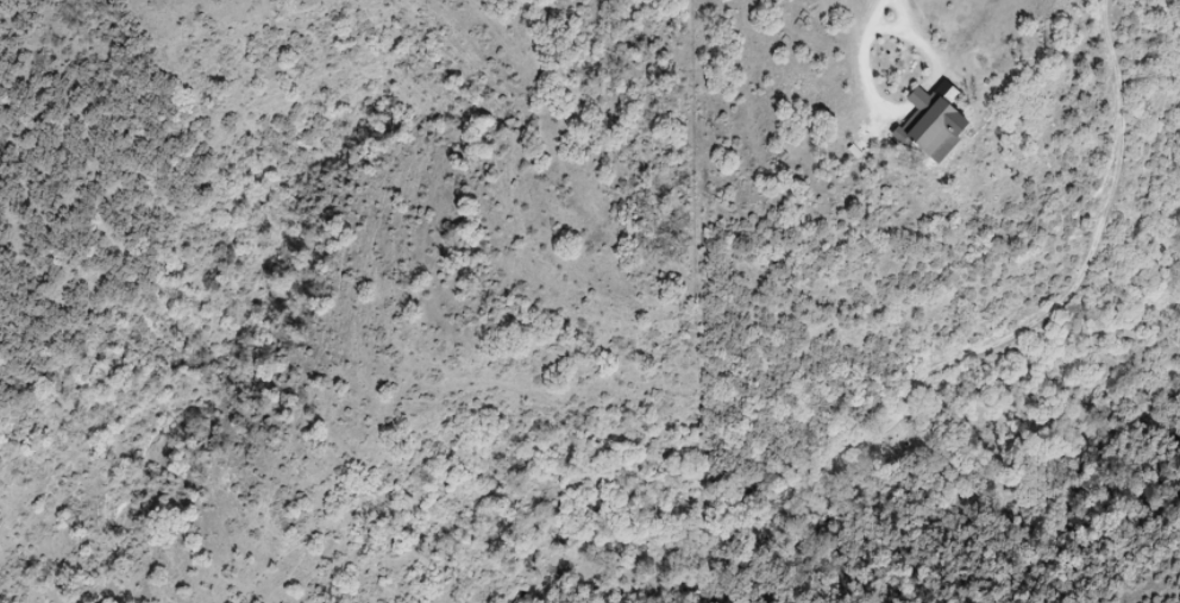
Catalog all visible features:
road: (867, 29)
building: (934, 125)

